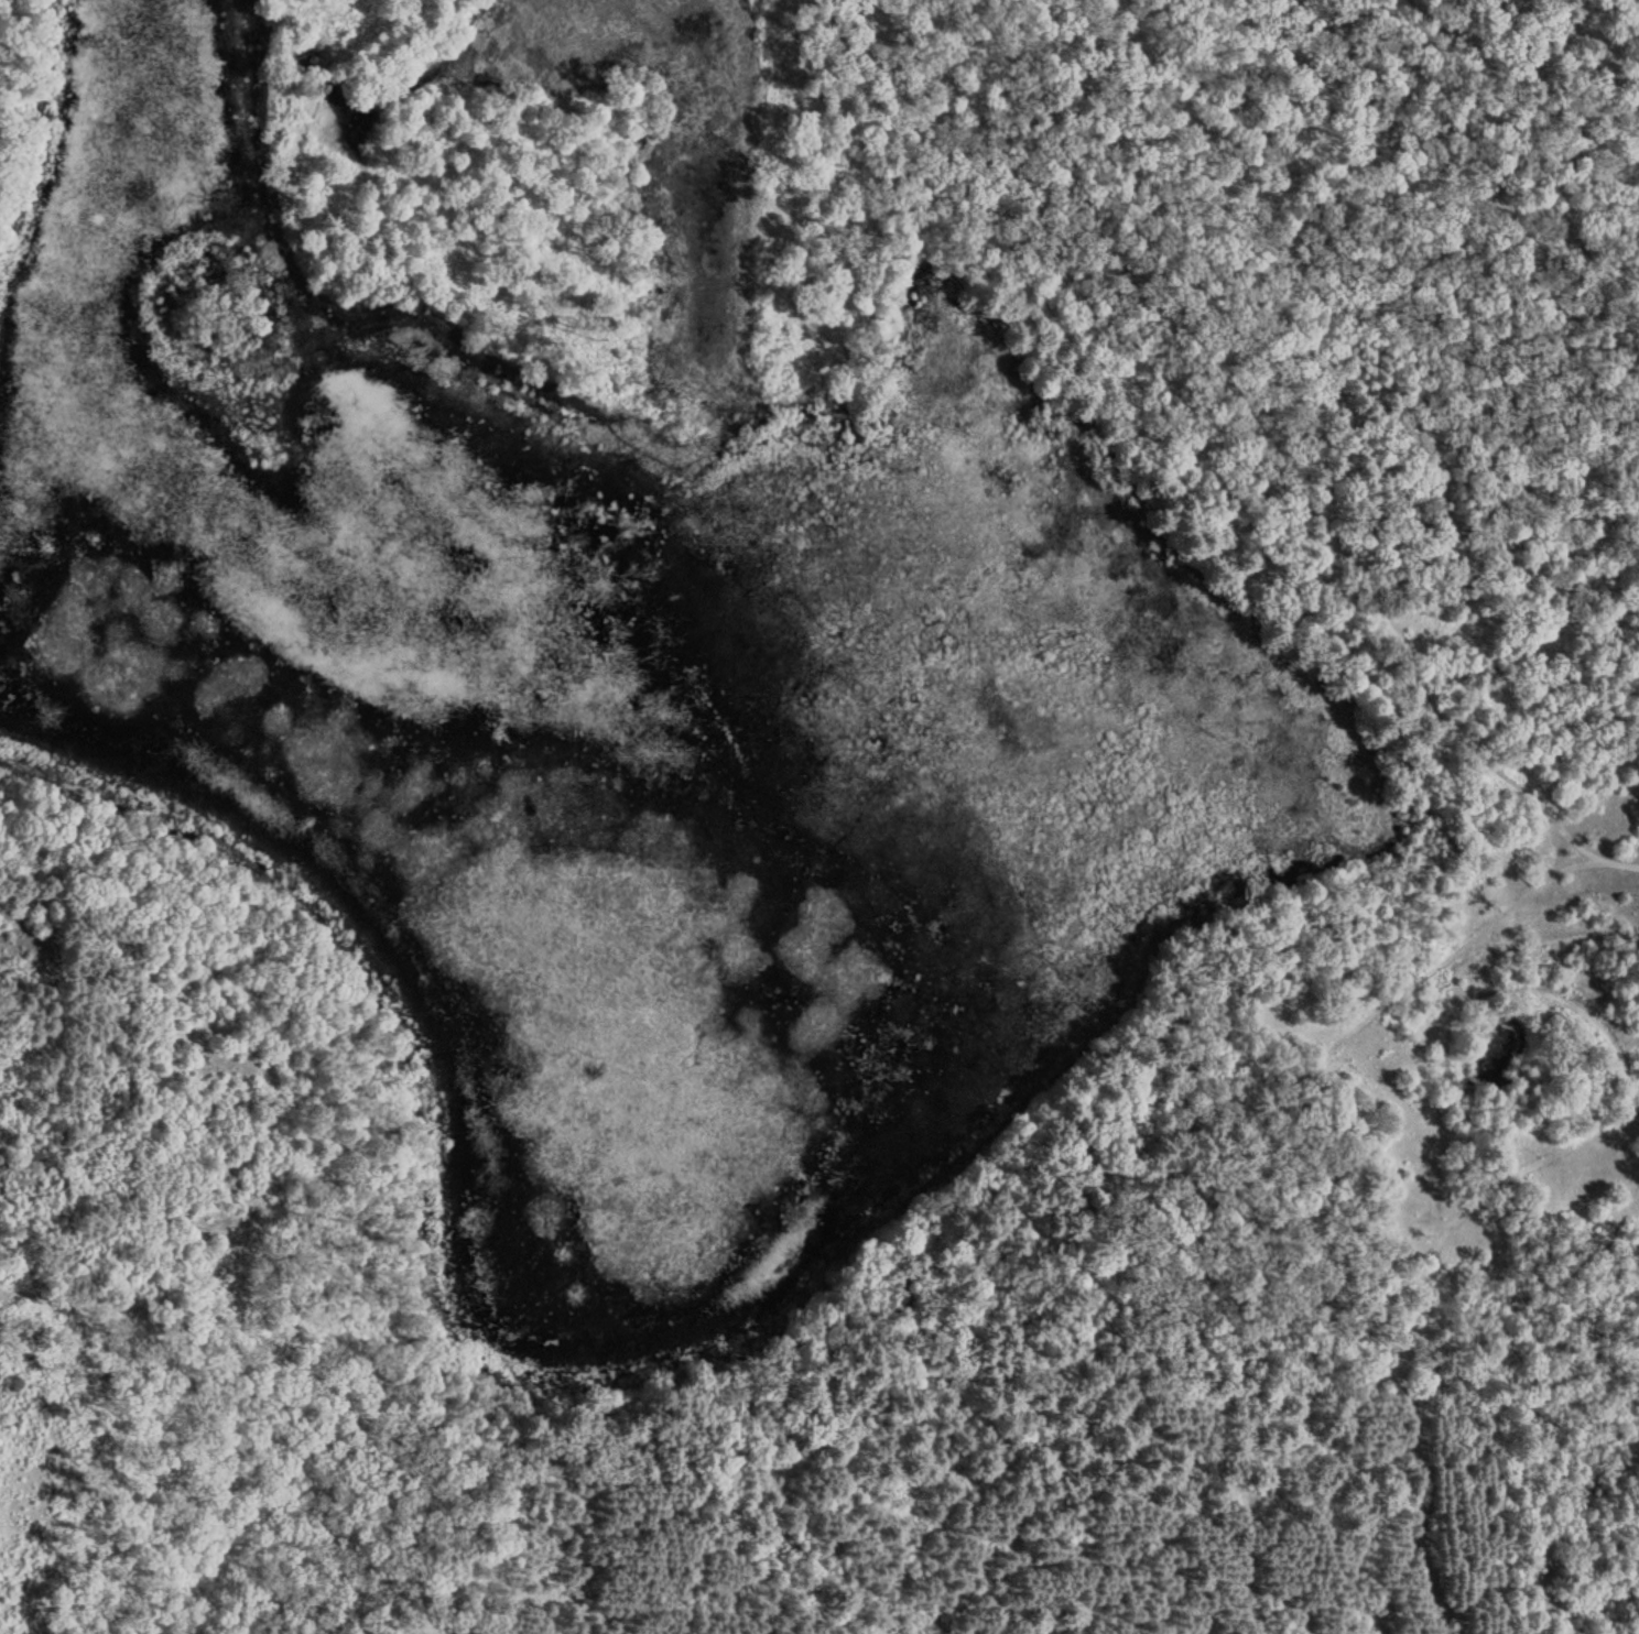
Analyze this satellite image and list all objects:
road: (1433, 1330)
road: (814, 1365)
road: (1407, 1515)

